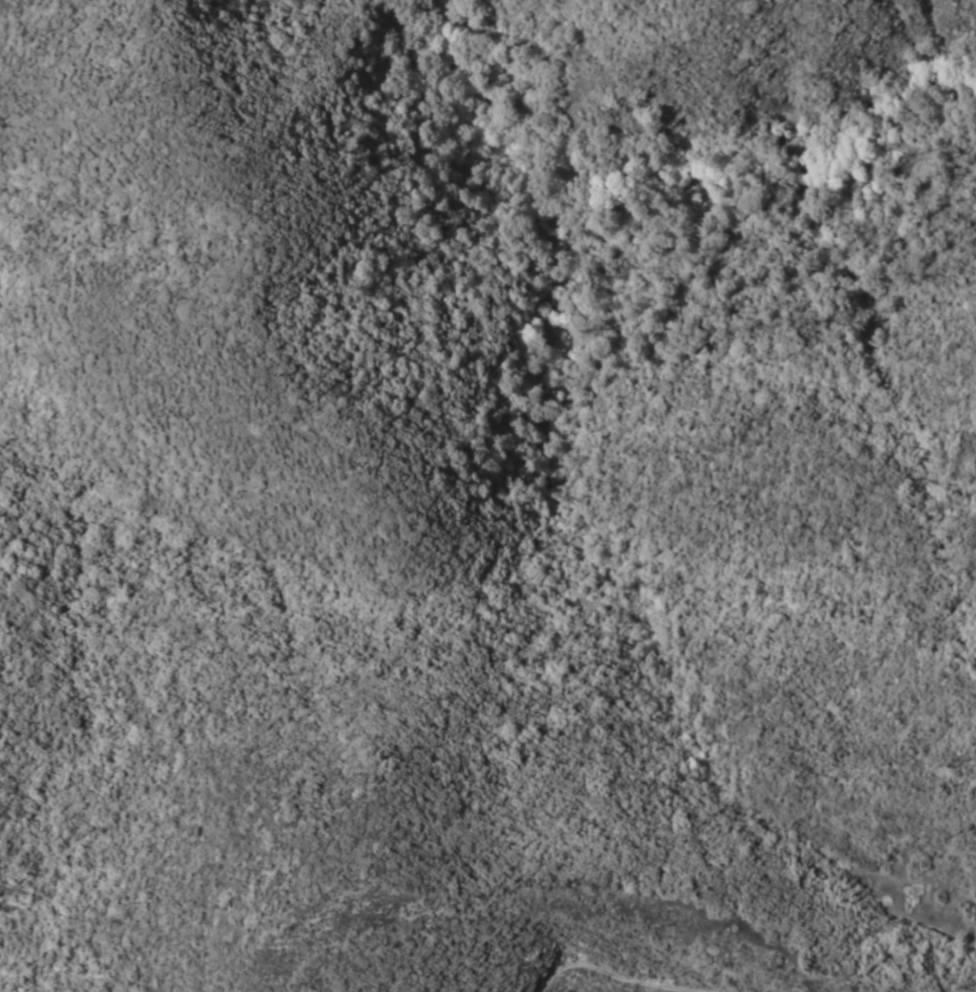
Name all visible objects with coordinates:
road: (611, 977)

